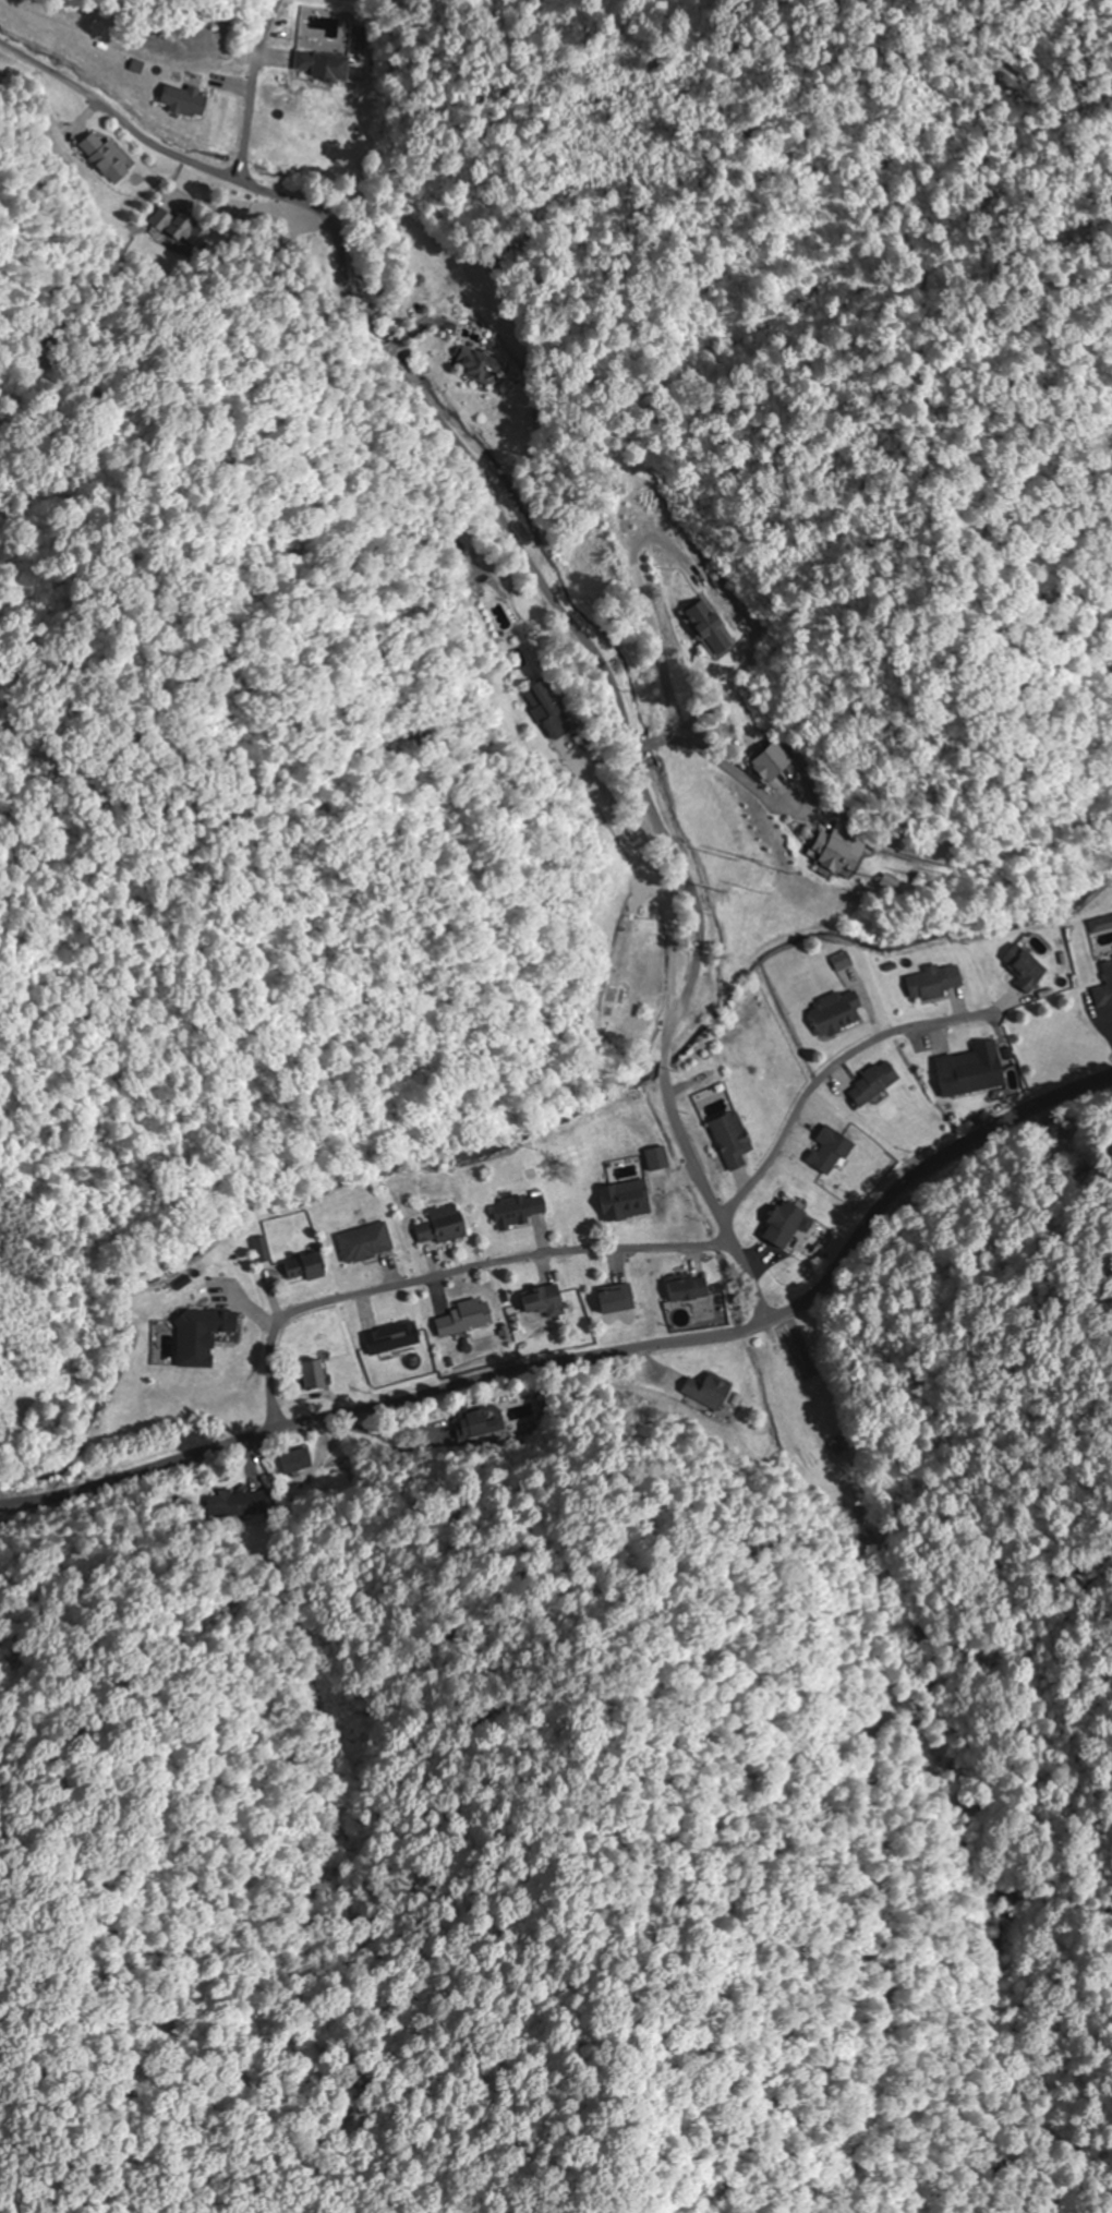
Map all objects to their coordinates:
building: (326, 67)
building: (188, 101)
building: (107, 158)
building: (180, 227)
building: (482, 369)
road: (553, 604)
building: (714, 628)
building: (551, 711)
building: (776, 765)
building: (843, 853)
building: (1102, 926)
building: (1026, 969)
building: (929, 986)
building: (1105, 990)
building: (838, 1014)
building: (972, 1071)
building: (875, 1084)
building: (734, 1141)
building: (626, 1202)
building: (520, 1213)
building: (786, 1225)
building: (443, 1227)
building: (366, 1243)
building: (306, 1268)
road: (488, 1273)
building: (689, 1290)
building: (617, 1300)
building: (545, 1302)
building: (467, 1319)
road: (733, 1331)
building: (203, 1336)
building: (394, 1339)
building: (316, 1375)
building: (710, 1392)
building: (493, 1420)
building: (297, 1463)
road: (138, 1470)
building: (237, 1505)

